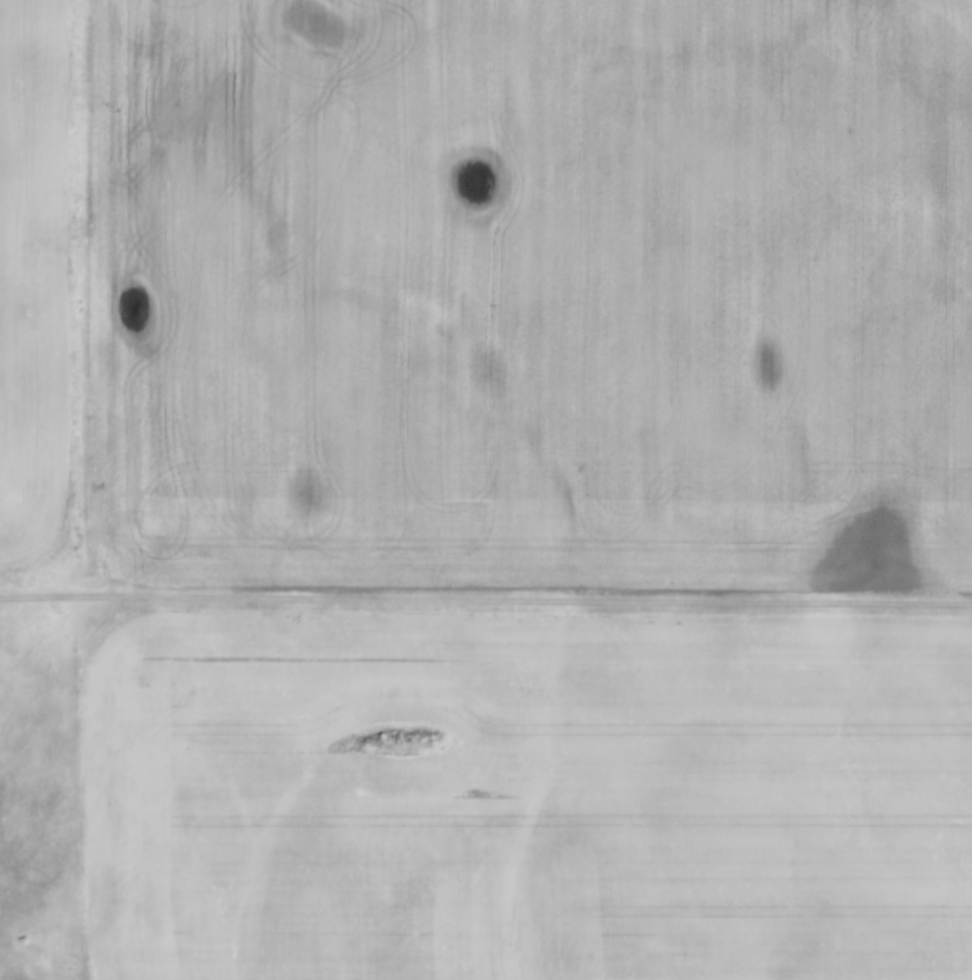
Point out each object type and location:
road: (486, 596)

